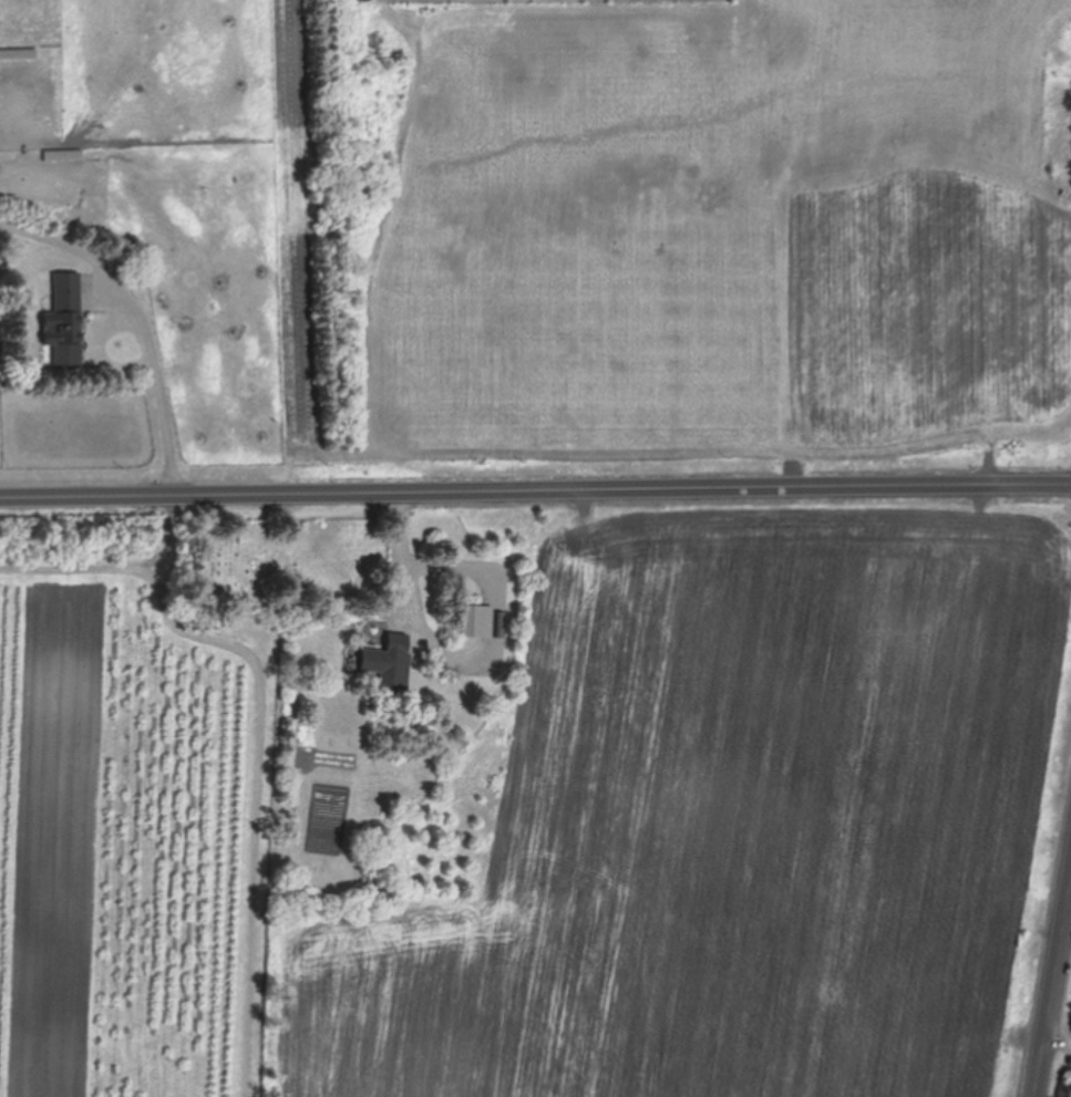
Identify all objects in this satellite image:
building: (65, 322)
road: (168, 427)
road: (535, 488)
road: (409, 556)
building: (480, 621)
building: (391, 663)
road: (260, 799)
road: (1053, 993)
road: (1059, 1036)

